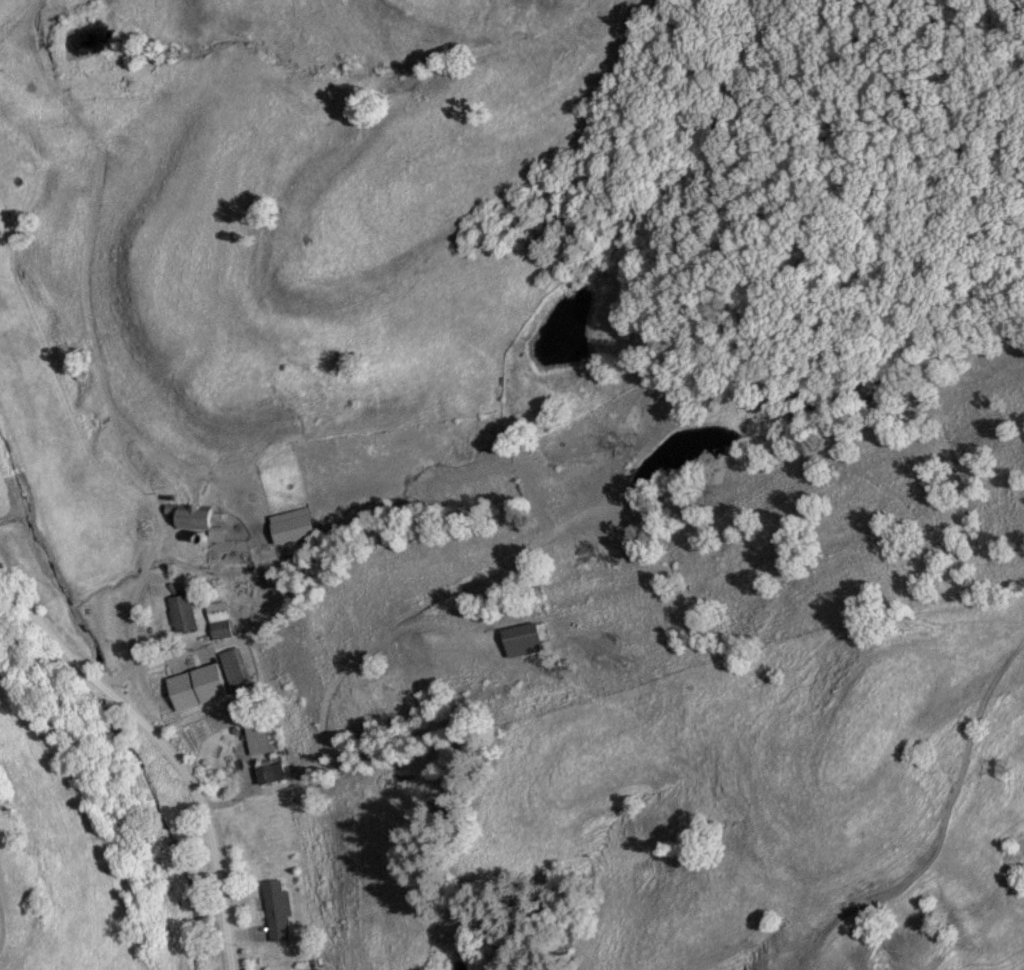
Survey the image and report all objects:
road: (133, 614)
road: (339, 687)
road: (160, 755)

